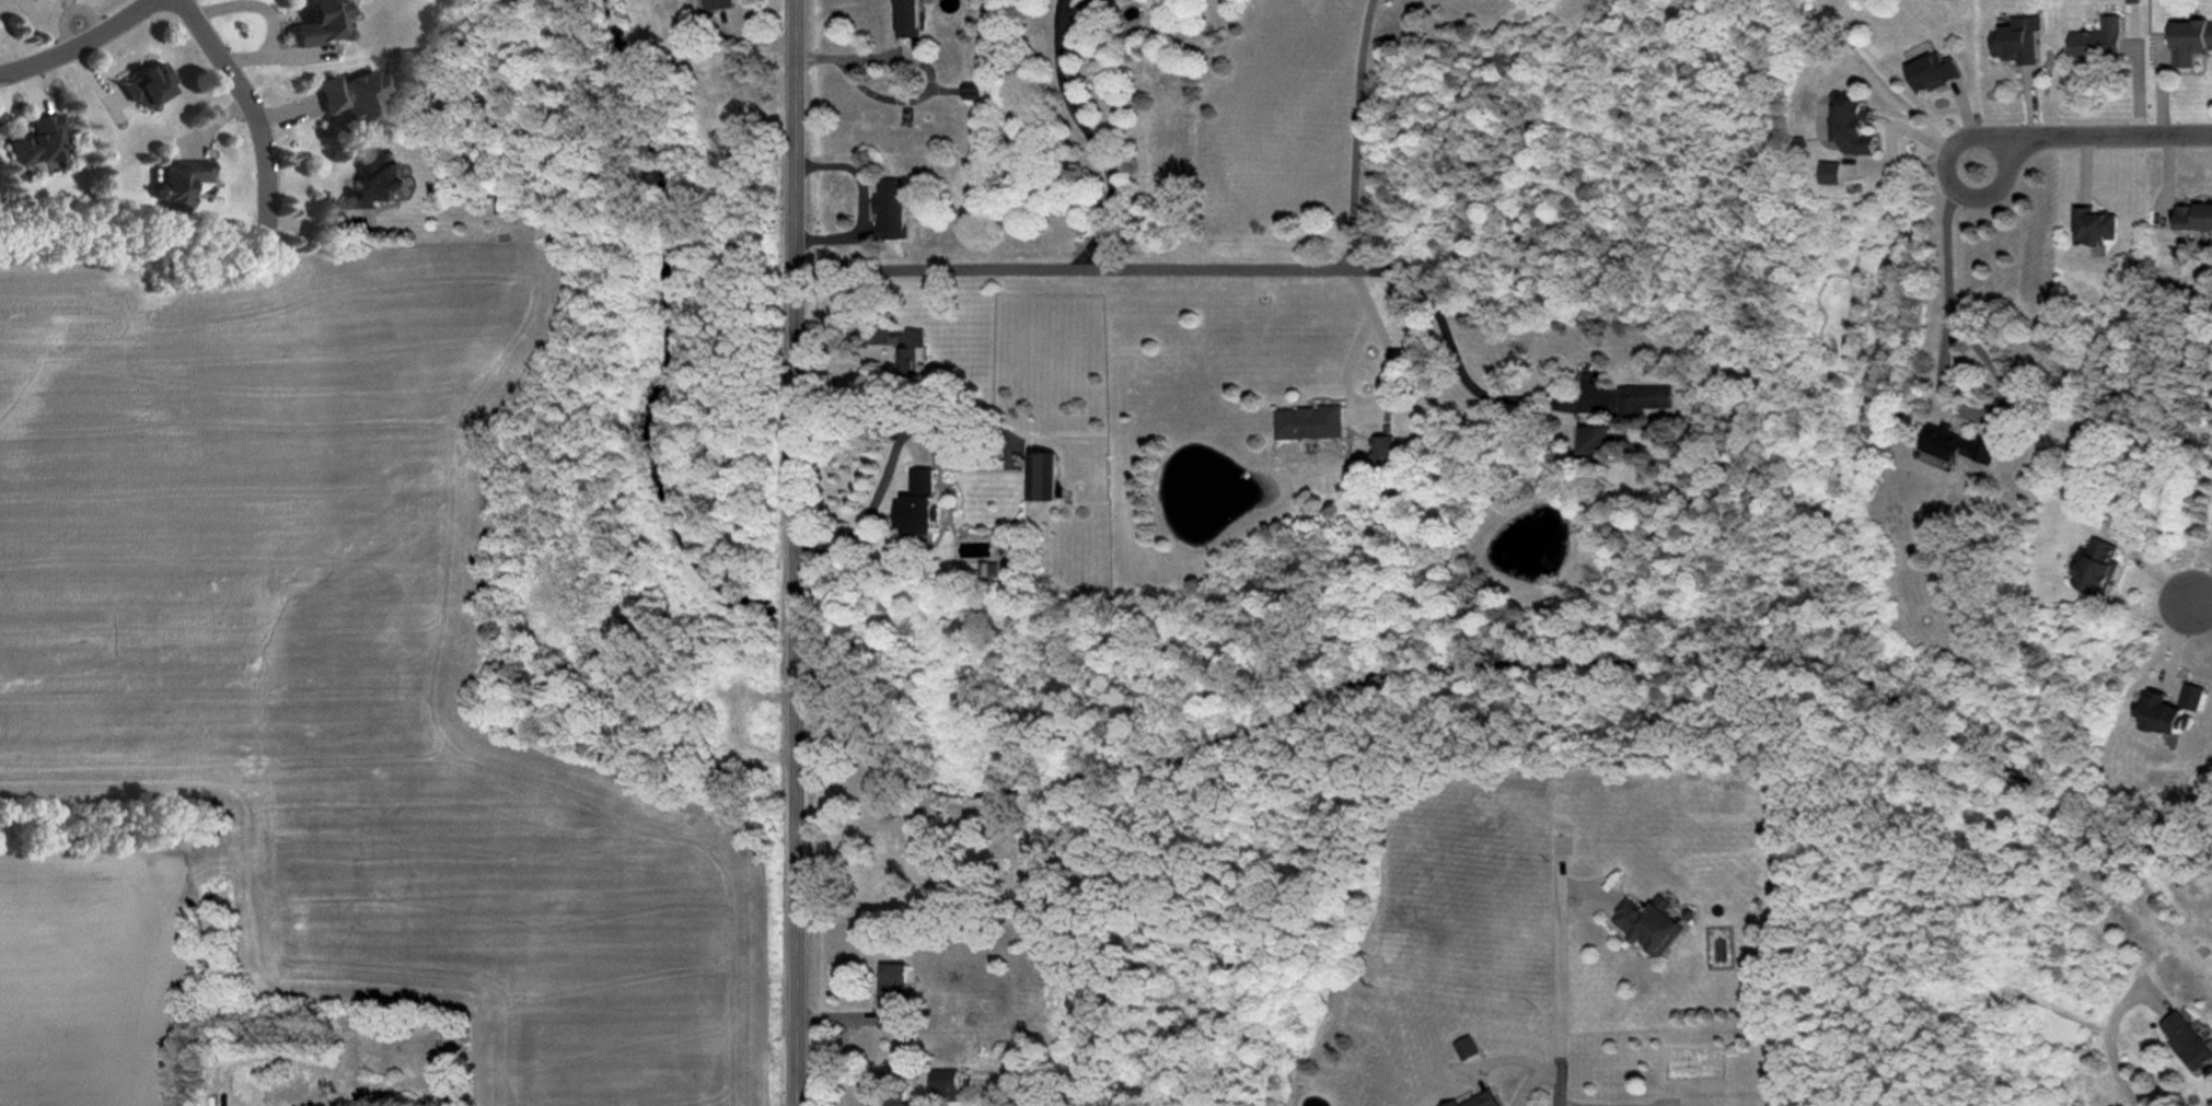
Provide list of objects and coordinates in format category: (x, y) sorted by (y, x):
building: (2132, 1)
building: (716, 5)
road: (268, 15)
building: (906, 19)
building: (322, 24)
building: (2100, 42)
building: (2191, 43)
road: (78, 44)
building: (2016, 44)
road: (924, 67)
building: (1936, 73)
building: (150, 86)
building: (974, 94)
building: (358, 100)
road: (248, 104)
building: (1857, 129)
road: (2087, 129)
road: (1356, 132)
road: (1089, 133)
building: (42, 143)
building: (1831, 174)
building: (375, 182)
building: (182, 184)
road: (859, 202)
building: (507, 205)
building: (889, 209)
building: (2196, 220)
building: (2096, 228)
road: (1213, 266)
building: (906, 352)
road: (1938, 362)
road: (1388, 391)
building: (1649, 397)
building: (1312, 422)
building: (1601, 440)
building: (2062, 444)
building: (1390, 447)
building: (1959, 447)
road: (887, 466)
building: (1039, 475)
building: (917, 501)
road: (796, 552)
building: (2101, 566)
road: (2199, 596)
crop: (334, 649)
building: (2178, 710)
building: (1647, 920)
crop: (81, 977)
road: (1559, 989)
building: (890, 991)
building: (2186, 1037)
road: (2110, 1044)
building: (1461, 1046)
road: (1531, 1082)
building: (893, 1098)
building: (1469, 1099)

